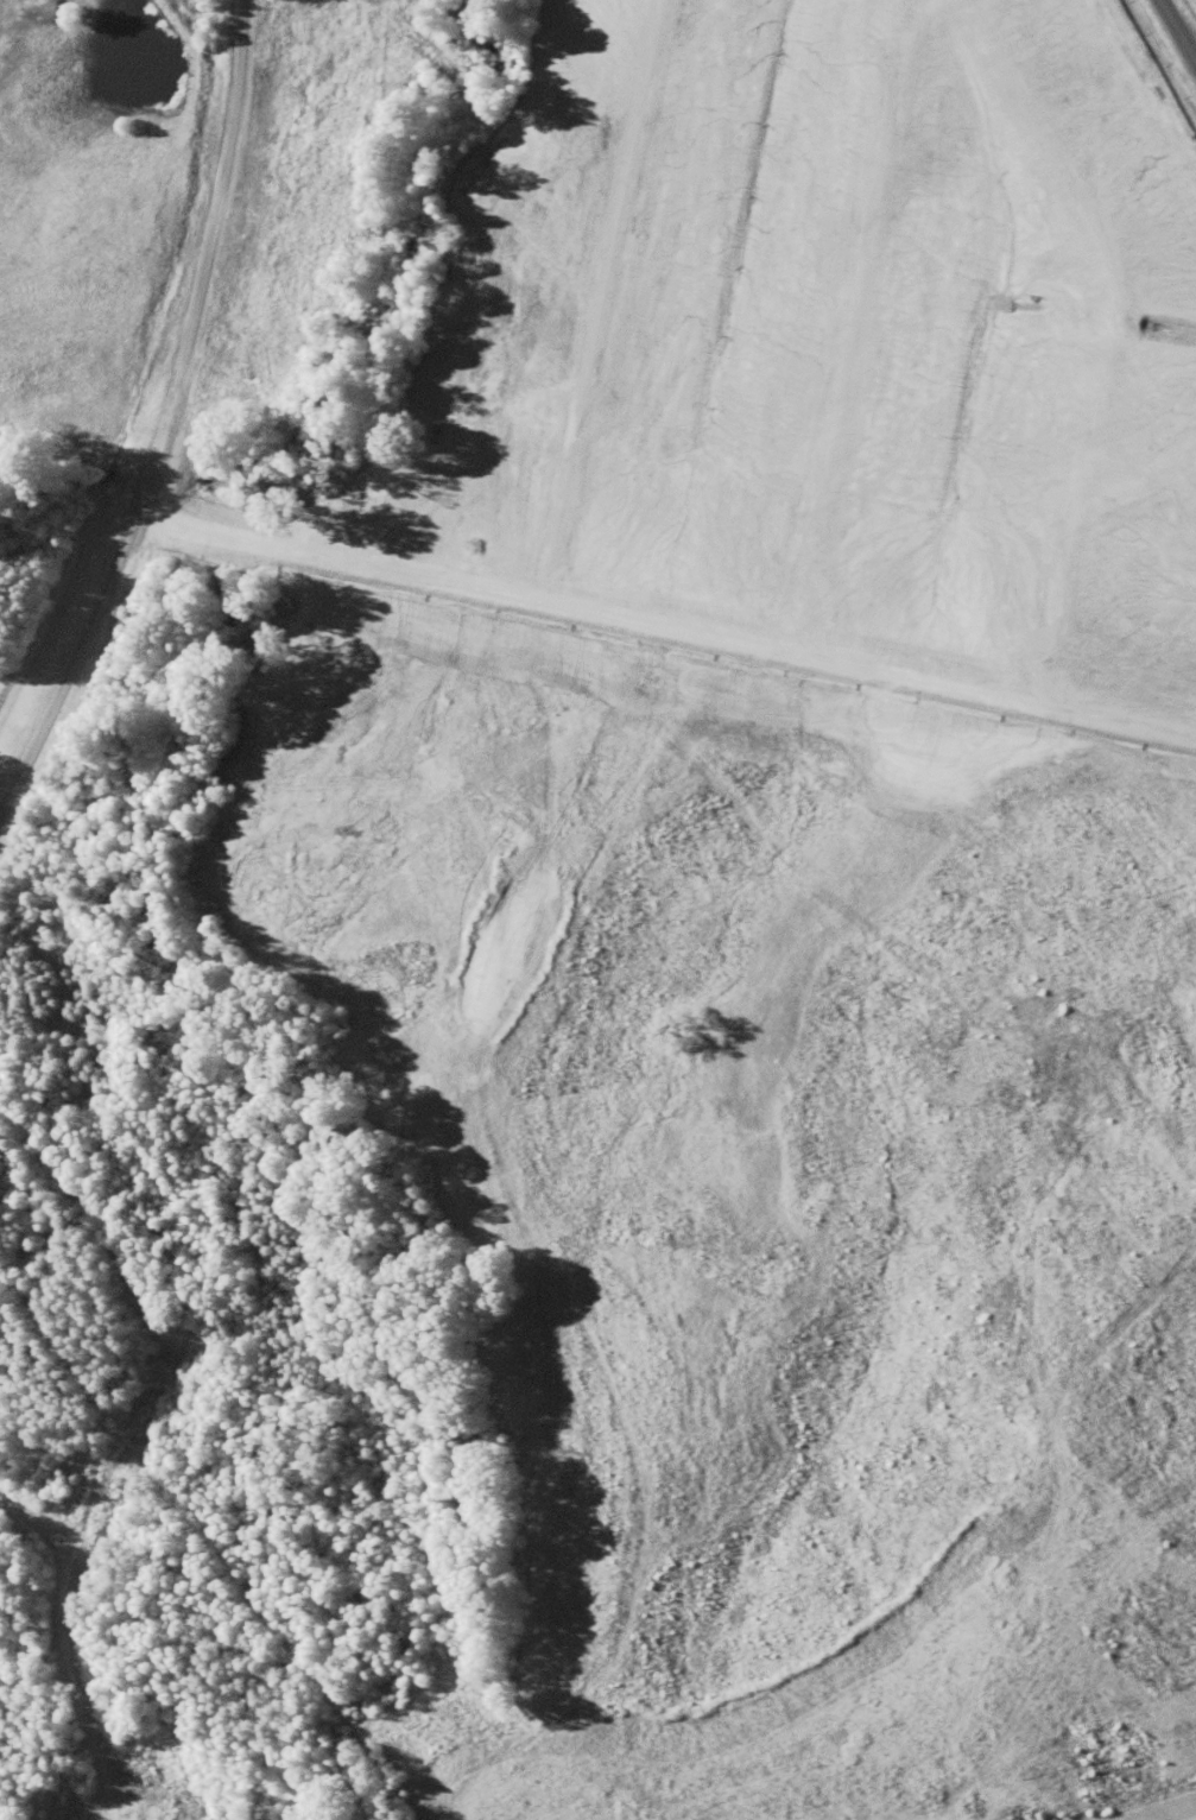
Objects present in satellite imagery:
road: (1176, 33)
road: (607, 298)
road: (853, 312)
road: (1115, 330)
road: (169, 416)
road: (1143, 461)
road: (666, 619)

